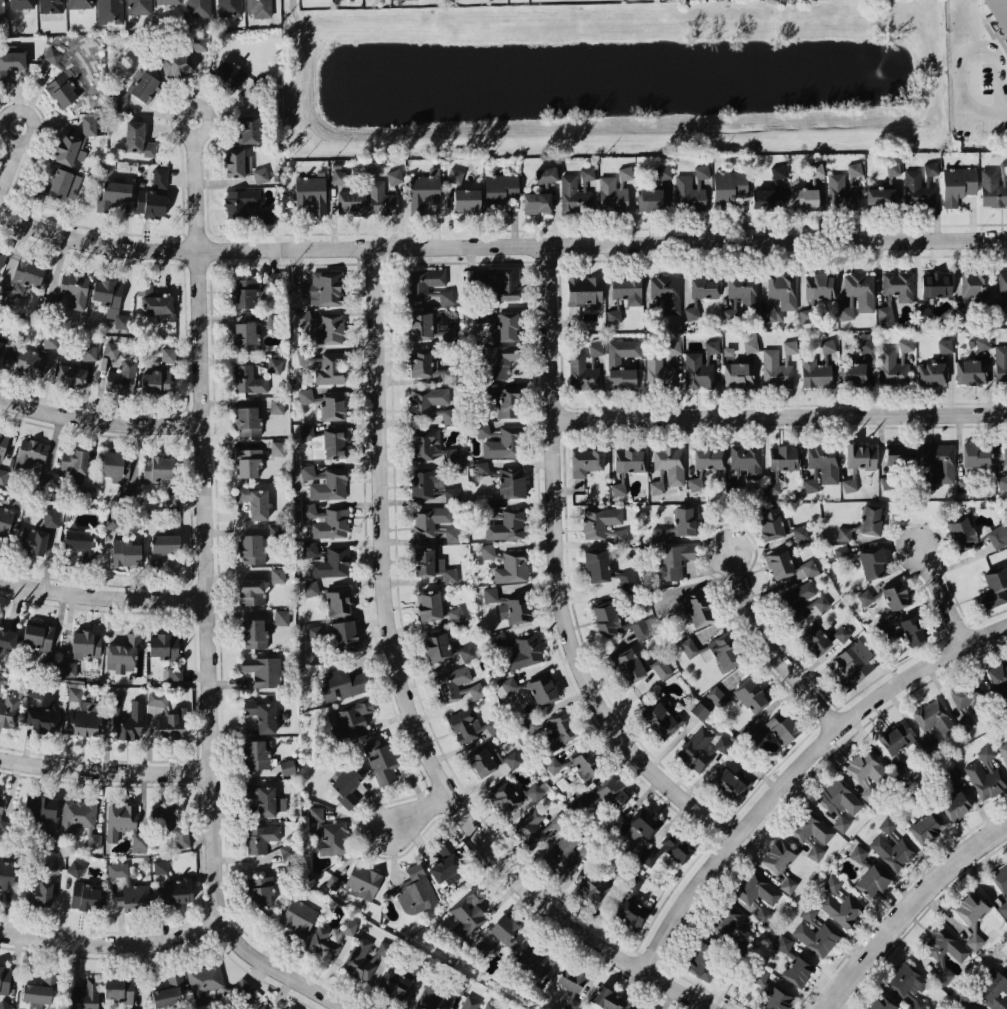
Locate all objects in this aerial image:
building: (168, 1)
building: (21, 4)
building: (80, 4)
building: (51, 6)
building: (139, 7)
building: (229, 7)
building: (199, 8)
building: (258, 8)
building: (109, 11)
building: (2, 12)
building: (999, 12)
building: (199, 43)
road: (961, 51)
building: (53, 54)
building: (11, 62)
building: (176, 63)
building: (229, 74)
building: (145, 87)
building: (62, 88)
building: (118, 101)
road: (1001, 108)
building: (249, 129)
building: (138, 139)
building: (76, 141)
road: (21, 155)
building: (237, 162)
building: (1003, 167)
building: (892, 168)
building: (931, 168)
building: (816, 169)
building: (854, 169)
building: (663, 172)
building: (587, 173)
building: (260, 174)
building: (545, 174)
building: (455, 175)
building: (394, 176)
building: (160, 177)
building: (339, 177)
building: (958, 184)
building: (501, 187)
building: (728, 187)
building: (614, 189)
building: (992, 189)
building: (424, 190)
building: (691, 190)
building: (917, 190)
building: (841, 192)
building: (311, 193)
building: (113, 194)
building: (574, 195)
building: (881, 197)
building: (381, 198)
building: (804, 198)
building: (651, 199)
building: (767, 199)
building: (467, 200)
building: (240, 201)
building: (351, 201)
building: (536, 202)
building: (151, 203)
building: (266, 216)
road: (500, 245)
building: (2, 255)
building: (22, 280)
building: (273, 282)
building: (423, 282)
building: (1002, 282)
building: (505, 284)
building: (936, 284)
building: (976, 284)
building: (899, 285)
building: (820, 286)
building: (703, 287)
building: (323, 288)
building: (75, 289)
building: (584, 289)
building: (861, 289)
building: (744, 290)
building: (107, 291)
building: (626, 291)
building: (667, 292)
building: (244, 293)
building: (446, 296)
building: (780, 296)
building: (154, 300)
building: (1000, 309)
building: (692, 311)
building: (846, 312)
building: (961, 313)
building: (729, 314)
building: (924, 314)
building: (885, 315)
building: (613, 316)
building: (806, 316)
building: (122, 321)
building: (273, 321)
building: (420, 324)
building: (500, 324)
building: (320, 327)
building: (245, 336)
building: (50, 340)
building: (983, 342)
building: (750, 344)
building: (906, 344)
building: (866, 345)
building: (944, 345)
building: (712, 346)
building: (790, 346)
building: (828, 346)
building: (595, 347)
building: (673, 347)
building: (111, 349)
building: (89, 353)
building: (6, 354)
building: (168, 354)
building: (499, 360)
building: (613, 361)
building: (32, 362)
building: (275, 365)
building: (430, 366)
building: (891, 367)
building: (329, 368)
building: (698, 370)
building: (775, 370)
building: (659, 371)
building: (971, 371)
building: (582, 372)
building: (933, 372)
building: (815, 373)
building: (854, 373)
building: (738, 374)
building: (70, 375)
building: (122, 377)
building: (248, 379)
building: (156, 381)
building: (305, 395)
building: (508, 403)
building: (430, 404)
building: (277, 405)
building: (333, 406)
road: (781, 414)
road: (101, 419)
building: (247, 420)
building: (482, 429)
building: (306, 432)
building: (424, 442)
building: (333, 443)
building: (504, 443)
building: (3, 444)
building: (278, 448)
building: (1004, 452)
building: (443, 453)
building: (900, 453)
building: (29, 454)
building: (976, 455)
building: (861, 456)
building: (784, 457)
building: (629, 459)
building: (746, 459)
building: (586, 460)
building: (940, 460)
building: (74, 461)
building: (824, 461)
building: (248, 462)
building: (670, 463)
building: (704, 464)
building: (116, 466)
building: (157, 468)
building: (2, 475)
building: (325, 482)
building: (425, 482)
building: (511, 482)
building: (887, 482)
building: (811, 484)
building: (849, 484)
building: (656, 486)
building: (618, 487)
building: (772, 487)
building: (451, 494)
building: (254, 501)
building: (309, 510)
building: (50, 518)
building: (5, 520)
building: (685, 520)
building: (872, 520)
building: (113, 521)
building: (434, 522)
building: (770, 523)
building: (330, 524)
building: (605, 524)
building: (505, 525)
building: (800, 532)
building: (962, 532)
building: (844, 533)
building: (998, 536)
building: (33, 540)
building: (162, 547)
building: (252, 549)
building: (310, 549)
building: (487, 550)
building: (842, 551)
building: (126, 553)
building: (671, 560)
building: (332, 562)
building: (872, 562)
building: (787, 564)
building: (433, 565)
building: (597, 565)
building: (512, 567)
road: (560, 573)
building: (277, 575)
building: (626, 580)
road: (943, 584)
building: (311, 587)
building: (994, 588)
road: (209, 590)
building: (252, 591)
road: (104, 593)
building: (895, 595)
building: (797, 600)
building: (338, 601)
building: (820, 603)
building: (509, 605)
building: (436, 607)
building: (697, 607)
building: (281, 616)
building: (0, 617)
building: (618, 621)
building: (913, 629)
building: (254, 633)
building: (344, 633)
building: (841, 633)
building: (37, 635)
road: (770, 637)
building: (7, 639)
building: (815, 639)
building: (501, 641)
building: (86, 644)
building: (163, 645)
building: (436, 646)
building: (689, 647)
building: (724, 650)
building: (466, 652)
building: (524, 652)
building: (123, 654)
building: (853, 664)
building: (628, 665)
building: (49, 666)
building: (69, 668)
building: (660, 668)
building: (263, 670)
building: (175, 673)
building: (999, 678)
building: (1, 680)
building: (452, 682)
building: (343, 684)
building: (506, 686)
building: (543, 689)
building: (474, 690)
building: (74, 693)
building: (751, 694)
building: (717, 696)
road: (412, 697)
building: (157, 698)
building: (965, 701)
building: (42, 708)
building: (9, 710)
building: (699, 711)
building: (262, 715)
building: (349, 718)
building: (662, 718)
building: (935, 718)
building: (84, 719)
building: (129, 722)
building: (172, 724)
building: (465, 724)
building: (784, 727)
building: (561, 729)
building: (932, 740)
building: (895, 744)
building: (702, 748)
building: (1004, 750)
building: (258, 753)
building: (512, 759)
building: (381, 760)
building: (584, 760)
building: (552, 765)
building: (287, 766)
road: (800, 766)
road: (106, 771)
building: (868, 772)
building: (985, 773)
building: (952, 776)
building: (732, 784)
building: (347, 786)
building: (534, 791)
building: (605, 795)
building: (504, 797)
building: (1, 798)
building: (266, 800)
building: (839, 802)
building: (956, 805)
building: (40, 806)
building: (77, 814)
road: (417, 814)
building: (164, 815)
building: (120, 818)
building: (642, 825)
building: (887, 825)
building: (5, 827)
building: (535, 827)
building: (926, 827)
building: (811, 831)
building: (329, 833)
building: (182, 837)
building: (260, 838)
building: (139, 842)
building: (667, 850)
building: (287, 851)
building: (892, 851)
building: (565, 853)
building: (858, 853)
building: (778, 855)
building: (51, 865)
building: (447, 865)
building: (160, 866)
building: (75, 868)
building: (7, 875)
building: (872, 881)
building: (358, 882)
building: (832, 883)
building: (788, 884)
building: (592, 886)
building: (1001, 886)
building: (129, 889)
building: (261, 890)
building: (416, 891)
building: (38, 893)
building: (758, 894)
building: (84, 896)
road: (908, 907)
building: (841, 908)
building: (808, 912)
building: (633, 914)
building: (972, 915)
building: (299, 917)
building: (730, 920)
building: (507, 931)
building: (816, 937)
building: (329, 938)
building: (783, 943)
road: (115, 945)
building: (944, 945)
building: (482, 947)
building: (363, 958)
building: (536, 960)
building: (701, 960)
building: (798, 970)
building: (943, 974)
building: (759, 975)
building: (4, 978)
building: (205, 981)
building: (395, 984)
building: (908, 984)
building: (571, 985)
building: (244, 988)
building: (40, 989)
building: (118, 989)
building: (169, 990)
building: (993, 990)
building: (84, 994)
building: (431, 997)
building: (608, 999)
building: (777, 999)
building: (469, 1002)
building: (881, 1002)
building: (5, 1005)
building: (491, 1005)
building: (263, 1007)
building: (290, 1007)
building: (631, 1007)
building: (129, 1008)

